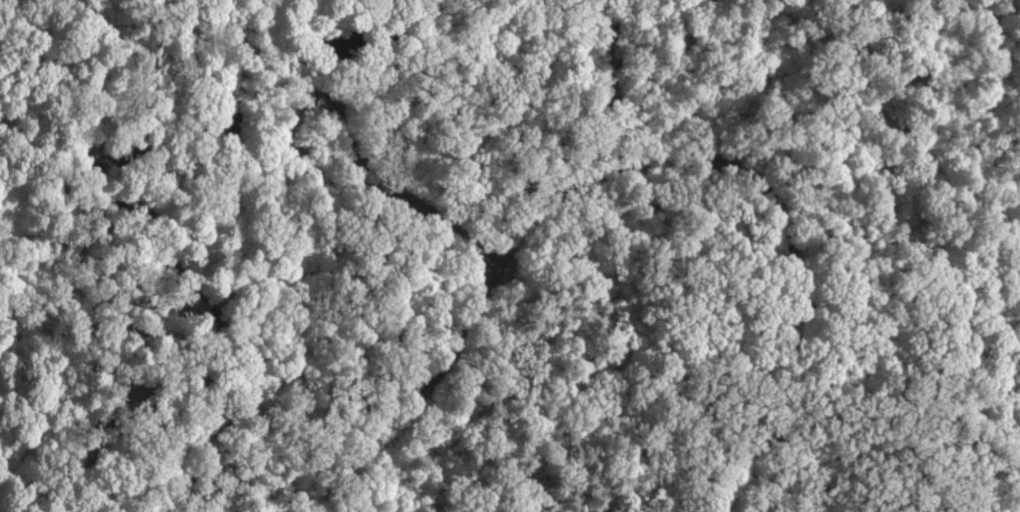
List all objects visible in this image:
building: (373, 0)
building: (409, 1)
road: (270, 24)
parking lot: (361, 39)
parking lot: (615, 59)
road: (619, 90)
road: (296, 113)
road: (648, 159)
road: (108, 181)
road: (439, 219)
road: (907, 278)
road: (125, 374)

